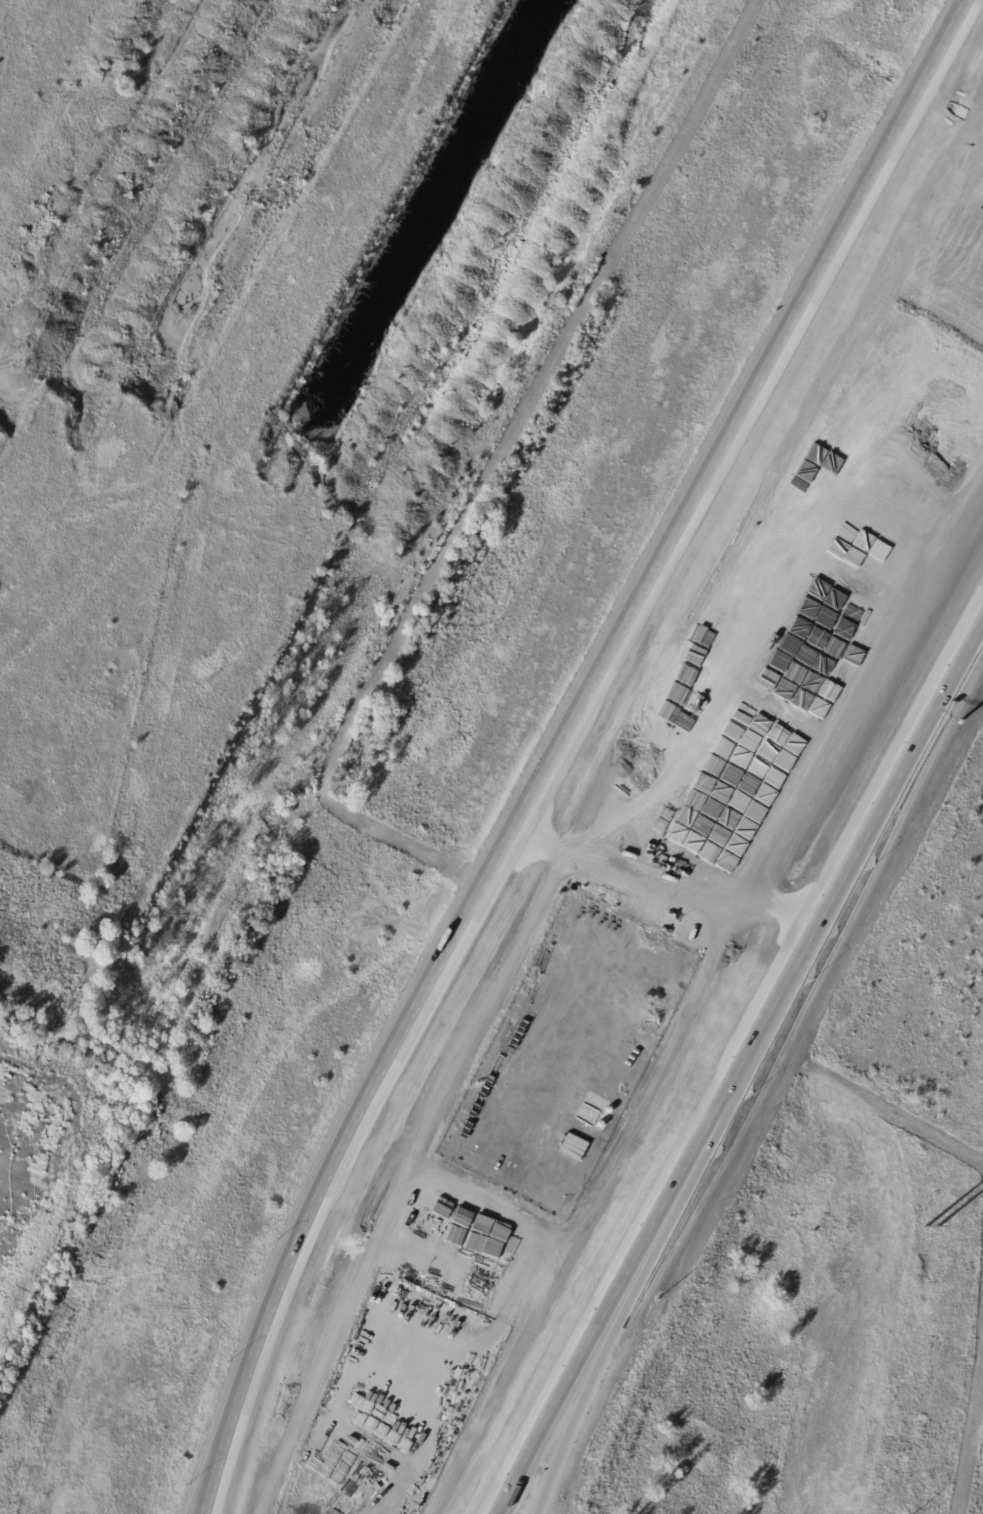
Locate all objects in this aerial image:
road: (579, 698)
road: (662, 907)
road: (821, 920)
power tower: (929, 1228)
road: (582, 1361)
road: (600, 1361)
road: (206, 1461)
road: (213, 1461)

